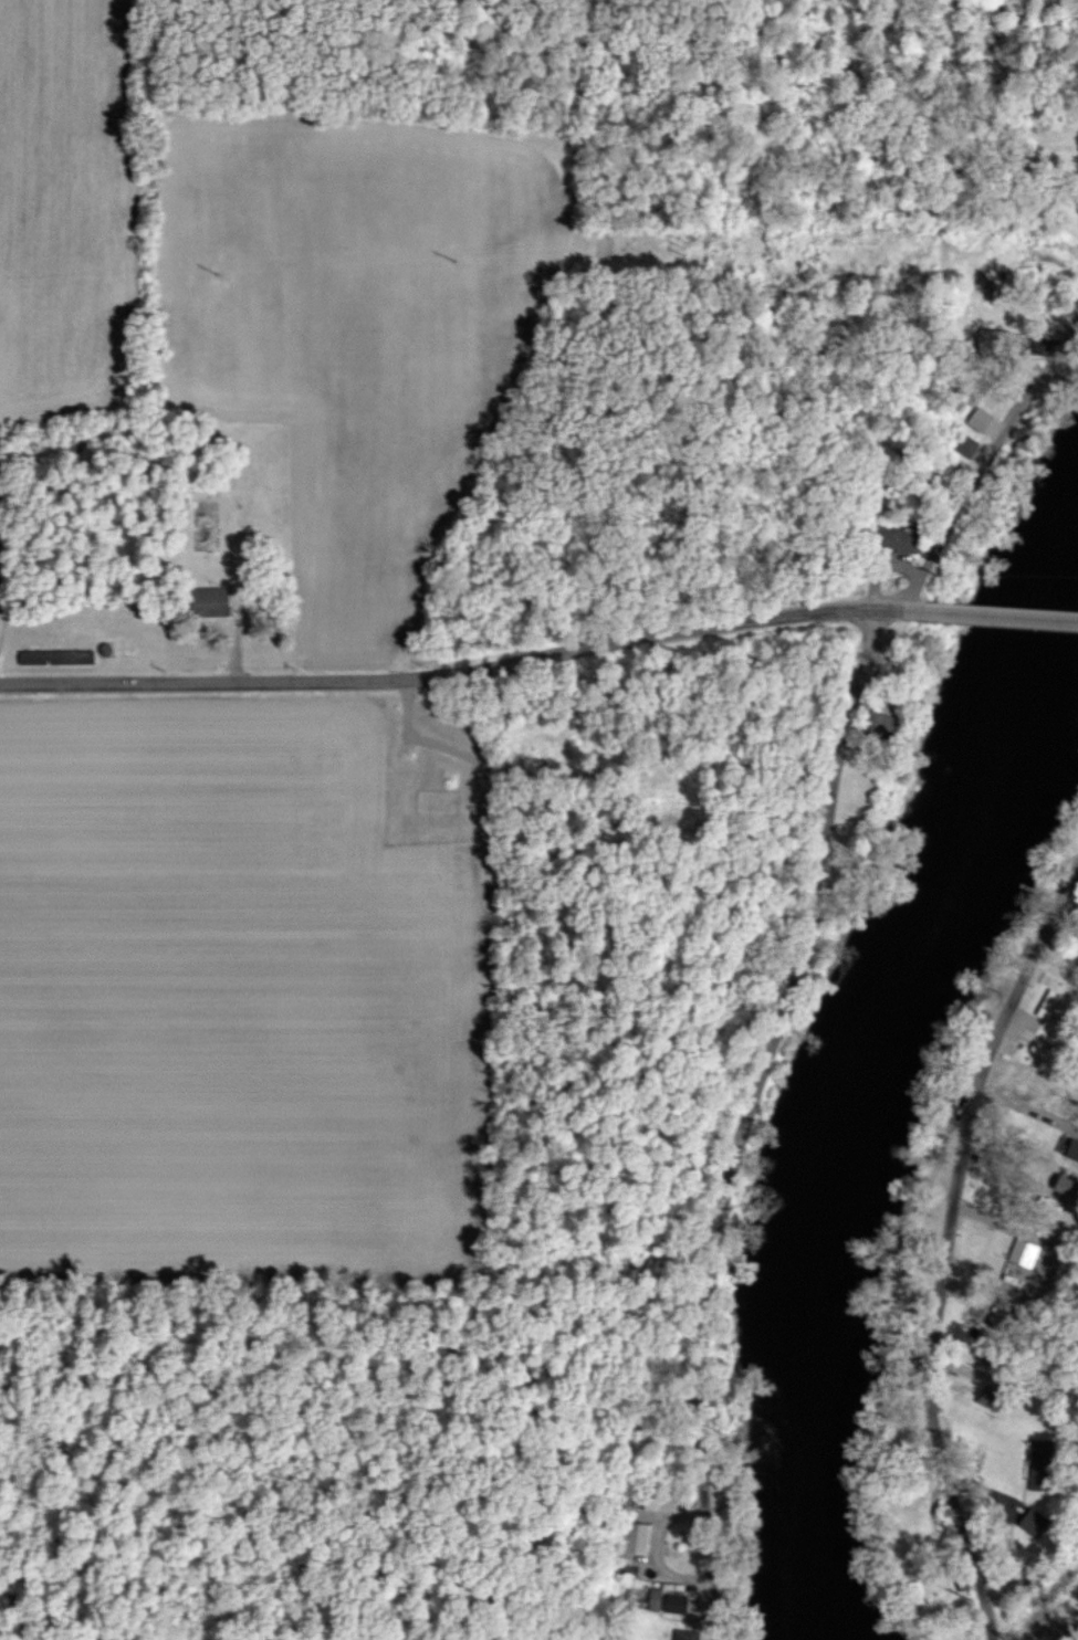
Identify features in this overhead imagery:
building: (977, 419)
building: (964, 445)
building: (894, 538)
building: (206, 601)
road: (976, 617)
road: (440, 675)
road: (800, 947)
river: (855, 1106)
building: (1070, 1150)
building: (1063, 1186)
road: (941, 1243)
building: (1022, 1252)
building: (636, 1537)
building: (652, 1599)
building: (674, 1602)
building: (683, 1634)

